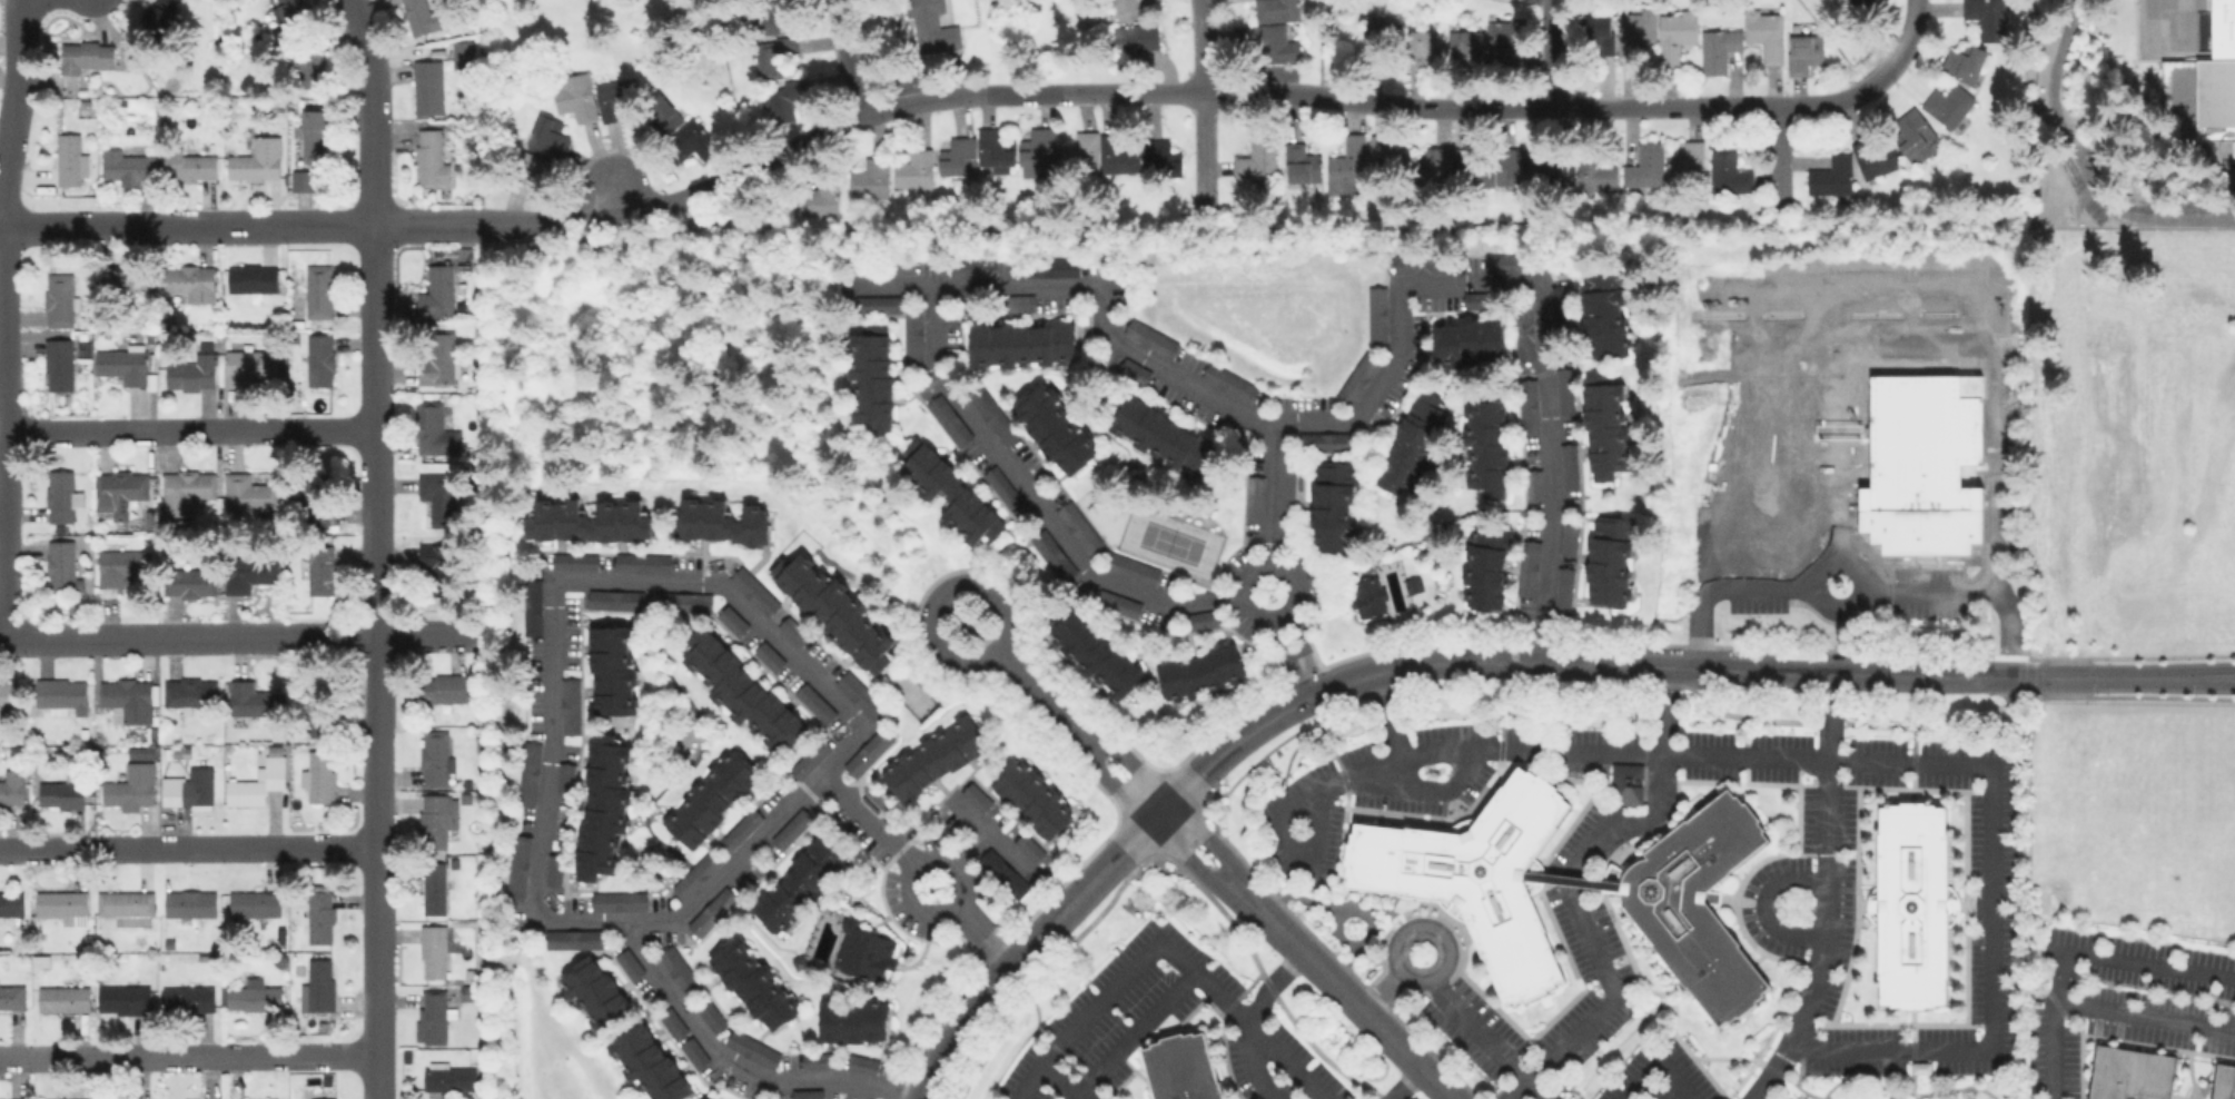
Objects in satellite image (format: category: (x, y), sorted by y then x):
building: (1856, 0)
building: (1133, 9)
building: (1275, 9)
building: (290, 10)
building: (417, 16)
building: (157, 17)
building: (1985, 17)
building: (931, 27)
building: (1379, 31)
building: (1596, 31)
building: (1633, 31)
building: (1764, 32)
building: (1674, 33)
road: (1908, 37)
building: (1135, 38)
building: (1502, 39)
building: (1467, 40)
building: (1266, 41)
building: (1422, 47)
building: (1717, 48)
building: (1802, 51)
building: (462, 53)
road: (1552, 53)
building: (86, 55)
building: (772, 56)
road: (844, 58)
building: (1962, 62)
building: (309, 70)
building: (427, 87)
road: (1204, 88)
building: (2203, 90)
building: (574, 96)
road: (937, 96)
building: (613, 99)
building: (782, 100)
building: (1946, 103)
building: (660, 113)
building: (311, 135)
building: (1915, 135)
building: (546, 136)
building: (688, 141)
building: (1038, 146)
building: (995, 148)
building: (1386, 151)
building: (1098, 152)
building: (429, 156)
building: (959, 157)
building: (1256, 157)
road: (1778, 157)
building: (68, 158)
building: (1160, 158)
building: (1873, 158)
building: (1687, 159)
building: (256, 160)
building: (1346, 161)
building: (1464, 161)
building: (1299, 162)
building: (1438, 164)
building: (189, 165)
building: (1643, 165)
building: (126, 167)
road: (2081, 167)
building: (913, 170)
building: (1556, 170)
building: (1727, 170)
building: (523, 172)
building: (1596, 175)
building: (1830, 176)
building: (868, 178)
building: (303, 180)
parking lot: (2115, 182)
building: (814, 199)
building: (1510, 261)
building: (1421, 264)
building: (1050, 266)
building: (970, 268)
building: (250, 277)
building: (127, 279)
building: (189, 281)
building: (318, 290)
building: (435, 291)
building: (57, 299)
building: (1017, 301)
building: (877, 304)
building: (1559, 308)
building: (1376, 314)
building: (1603, 314)
road: (3, 318)
building: (1523, 331)
building: (912, 335)
building: (1150, 337)
building: (1467, 341)
road: (1977, 343)
building: (1020, 345)
building: (437, 358)
building: (318, 359)
building: (58, 364)
building: (121, 364)
building: (246, 365)
building: (1134, 369)
building: (191, 372)
building: (870, 376)
road: (1377, 376)
building: (1357, 377)
building: (1228, 382)
building: (1564, 389)
building: (1527, 405)
building: (990, 414)
building: (948, 418)
road: (189, 426)
building: (429, 426)
building: (1055, 426)
building: (1604, 426)
building: (1163, 436)
building: (1413, 443)
building: (1485, 443)
building: (1921, 465)
building: (1566, 466)
building: (1532, 484)
building: (118, 489)
building: (184, 489)
road: (1273, 492)
building: (246, 493)
building: (950, 493)
building: (58, 495)
building: (317, 496)
building: (436, 496)
road: (1032, 496)
building: (1254, 498)
building: (1332, 504)
building: (586, 519)
building: (719, 521)
building: (1079, 527)
building: (1568, 538)
park: (1170, 539)
road: (373, 547)
building: (1052, 555)
building: (580, 561)
building: (641, 562)
building: (1609, 562)
building: (60, 565)
building: (119, 565)
building: (1485, 565)
building: (1527, 565)
road: (1246, 566)
building: (1130, 567)
building: (436, 568)
building: (319, 571)
building: (246, 572)
building: (187, 582)
road: (1862, 583)
road: (1719, 585)
building: (1562, 588)
road: (1928, 588)
building: (753, 590)
road: (938, 594)
building: (1366, 595)
building: (613, 598)
building: (683, 601)
building: (531, 606)
building: (1125, 606)
building: (832, 607)
building: (1200, 618)
building: (734, 623)
road: (238, 635)
road: (551, 643)
building: (1095, 652)
road: (1299, 654)
building: (770, 659)
road: (1569, 662)
building: (612, 669)
building: (1199, 672)
road: (1307, 672)
road: (2132, 675)
building: (443, 687)
building: (184, 691)
building: (742, 691)
building: (10, 694)
building: (61, 694)
building: (859, 694)
park: (912, 695)
building: (128, 696)
building: (251, 699)
building: (317, 703)
building: (568, 705)
road: (1387, 712)
building: (867, 752)
building: (933, 756)
road: (1812, 756)
building: (434, 758)
building: (810, 759)
building: (528, 773)
building: (317, 775)
building: (563, 778)
building: (256, 782)
building: (1624, 782)
road: (1428, 785)
building: (12, 786)
building: (130, 788)
building: (187, 789)
road: (1660, 792)
building: (59, 793)
building: (1031, 795)
building: (711, 796)
building: (976, 796)
building: (604, 804)
building: (435, 818)
building: (740, 828)
building: (787, 831)
road: (991, 836)
road: (187, 848)
road: (971, 848)
building: (1028, 848)
road: (955, 863)
building: (517, 865)
building: (553, 870)
building: (695, 873)
building: (1003, 873)
road: (1219, 874)
building: (1475, 875)
building: (1570, 879)
road: (1573, 880)
building: (800, 883)
building: (433, 887)
road: (1826, 893)
building: (616, 900)
road: (1761, 900)
building: (188, 902)
building: (251, 903)
building: (1698, 903)
building: (1911, 903)
building: (10, 904)
building: (62, 905)
building: (125, 905)
building: (318, 912)
building: (709, 912)
fountain: (1352, 924)
road: (1436, 932)
road: (982, 935)
building: (572, 938)
road: (1027, 947)
building: (432, 950)
building: (862, 951)
road: (2074, 951)
building: (627, 963)
building: (679, 970)
building: (752, 982)
building: (316, 984)
building: (594, 992)
road: (1381, 993)
building: (253, 996)
building: (11, 997)
building: (187, 997)
building: (62, 998)
building: (122, 999)
fountain: (1304, 1001)
road: (1098, 1003)
road: (1602, 1004)
road: (2143, 1014)
building: (710, 1016)
building: (431, 1018)
building: (851, 1019)
road: (1244, 1020)
building: (672, 1022)
road: (1253, 1022)
road: (1133, 1031)
road: (1489, 1037)
building: (751, 1048)
building: (693, 1052)
road: (1658, 1058)
road: (187, 1059)
road: (731, 1060)
building: (815, 1061)
building: (650, 1063)
building: (861, 1065)
building: (1919, 1066)
building: (1180, 1067)
fountain: (1372, 1067)
road: (1908, 1069)
building: (2129, 1073)
building: (448, 1076)
road: (1060, 1081)
building: (2223, 1081)
road: (1028, 1082)
road: (1402, 1086)
road: (1796, 1086)
park: (1902, 1086)
road: (1905, 1092)
building: (808, 1093)
road: (1760, 1096)
road: (1075, 1097)
building: (699, 1098)
road: (1821, 1098)

